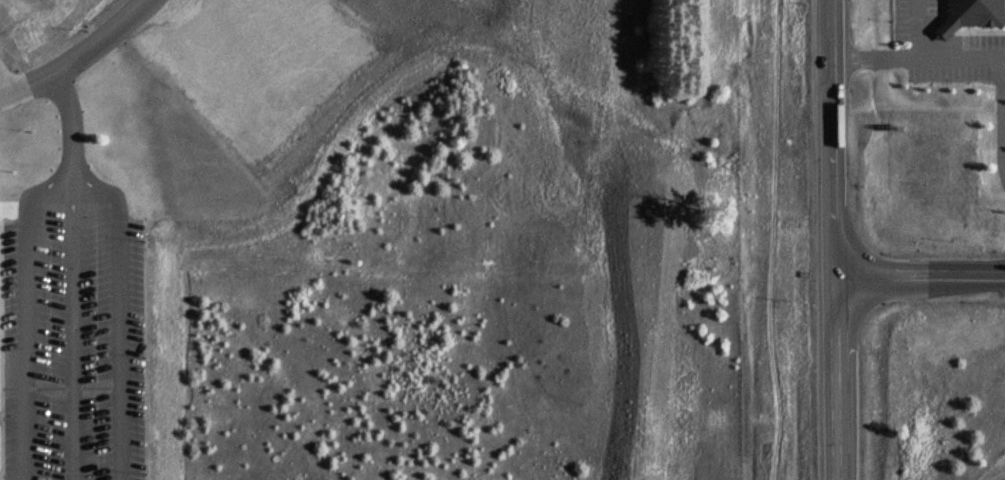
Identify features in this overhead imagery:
building: (967, 13)
road: (946, 26)
road: (917, 28)
road: (77, 56)
road: (969, 57)
road: (6, 77)
road: (832, 138)
road: (71, 186)
building: (1000, 205)
road: (774, 239)
road: (73, 273)
road: (920, 276)
parking lot: (71, 333)
road: (837, 378)

